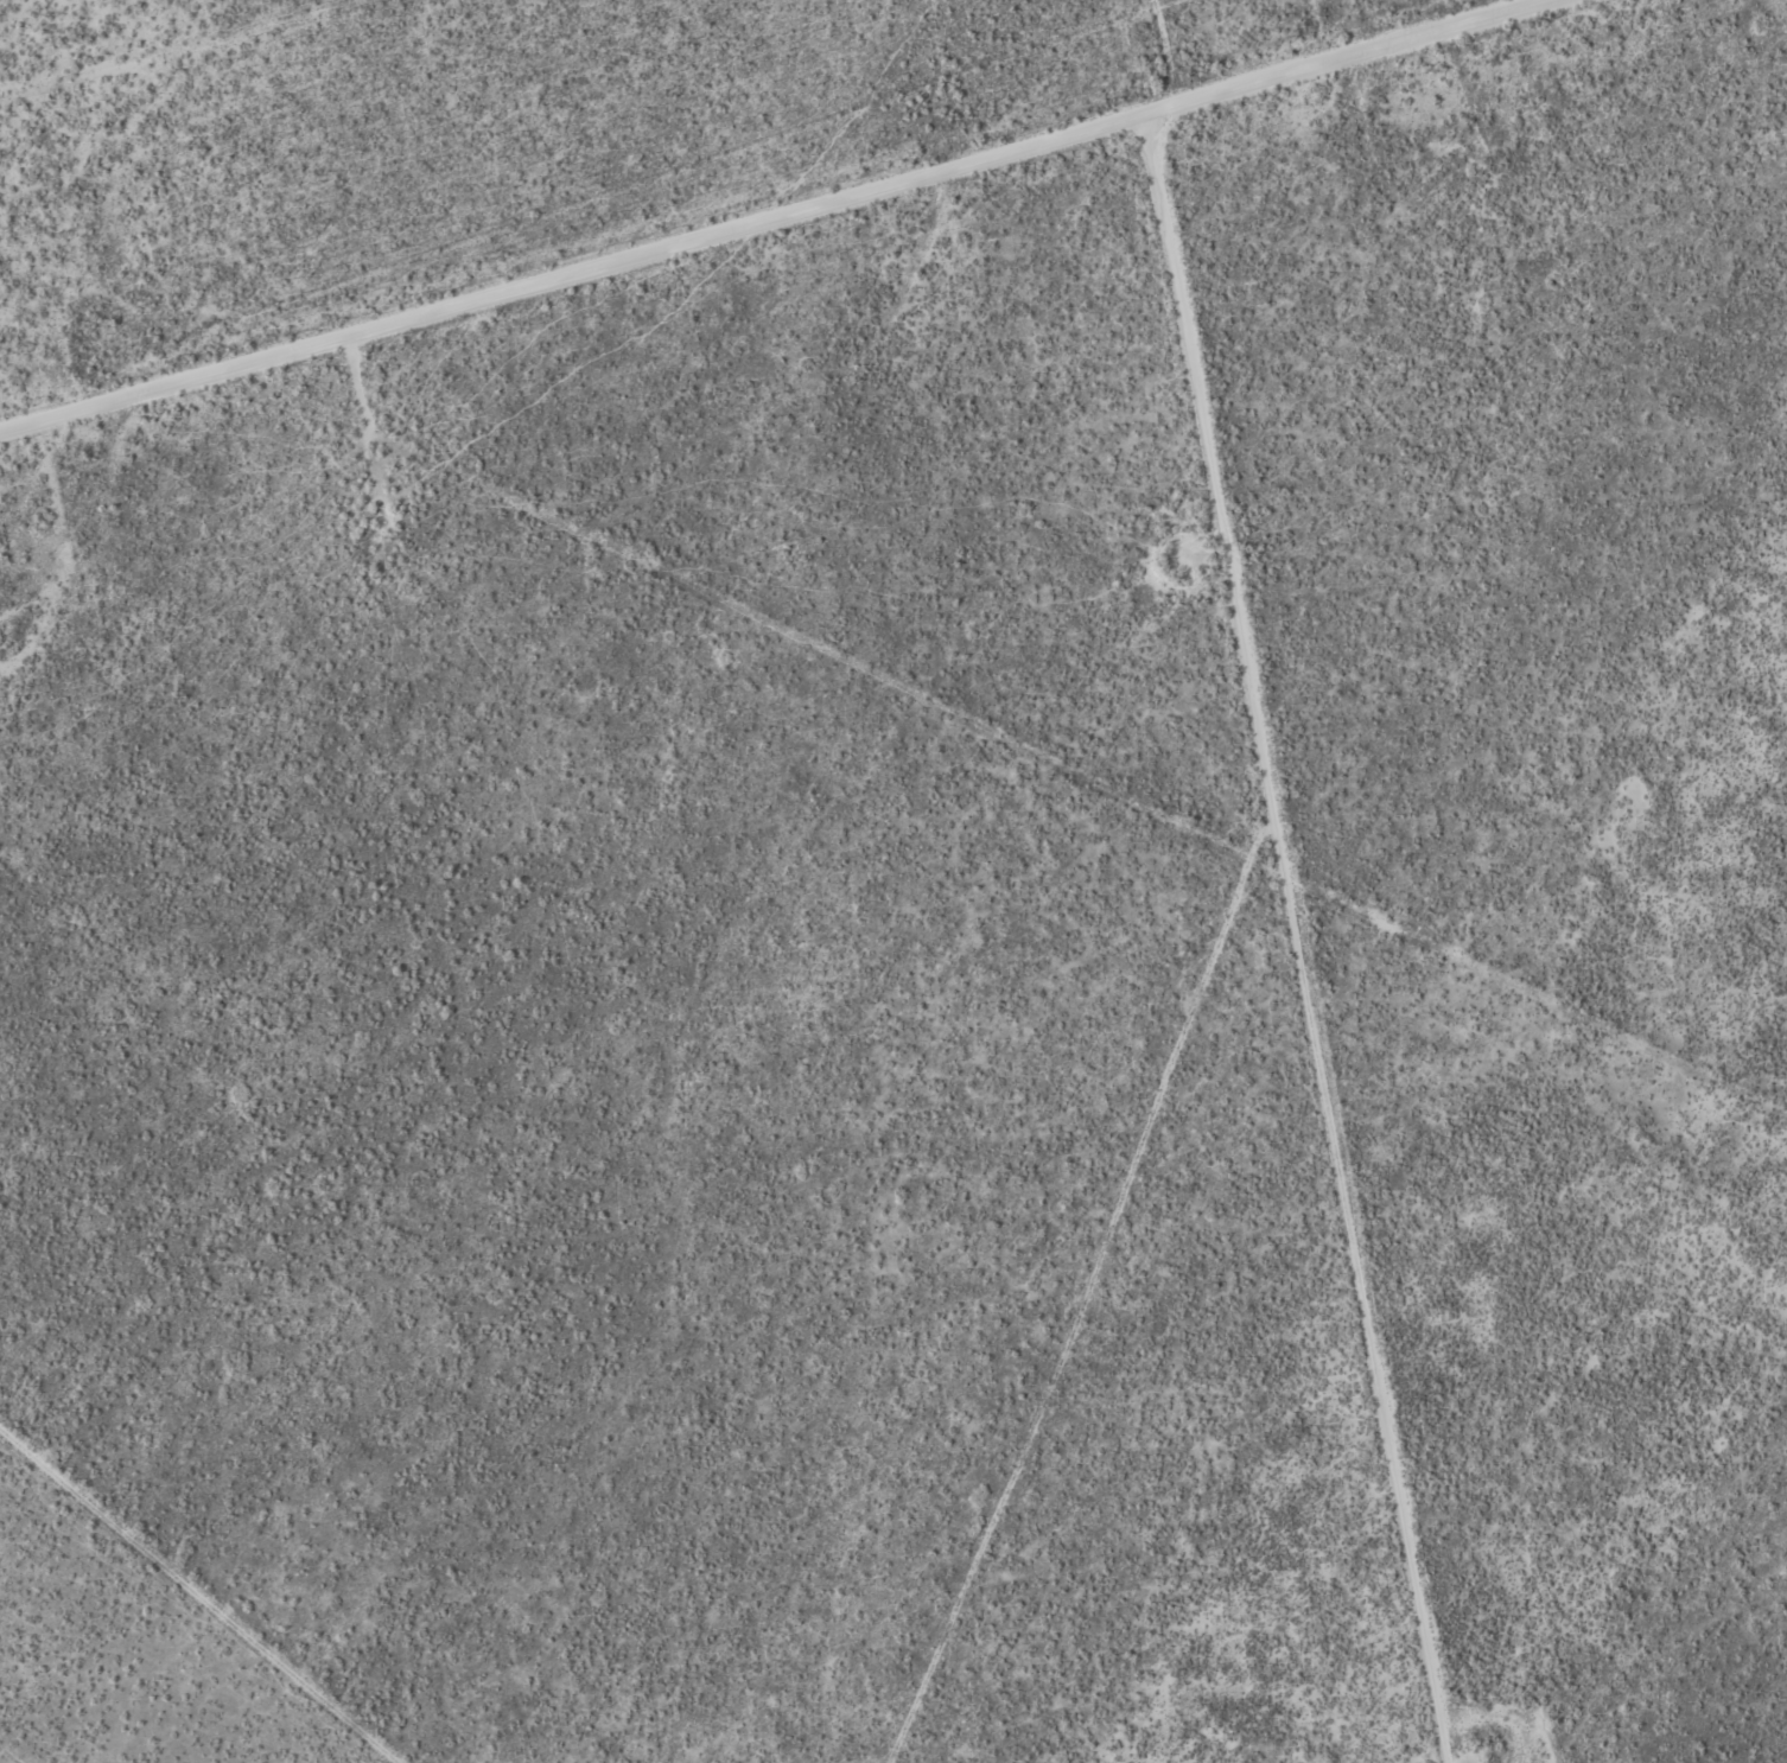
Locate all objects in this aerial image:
road: (799, 222)

